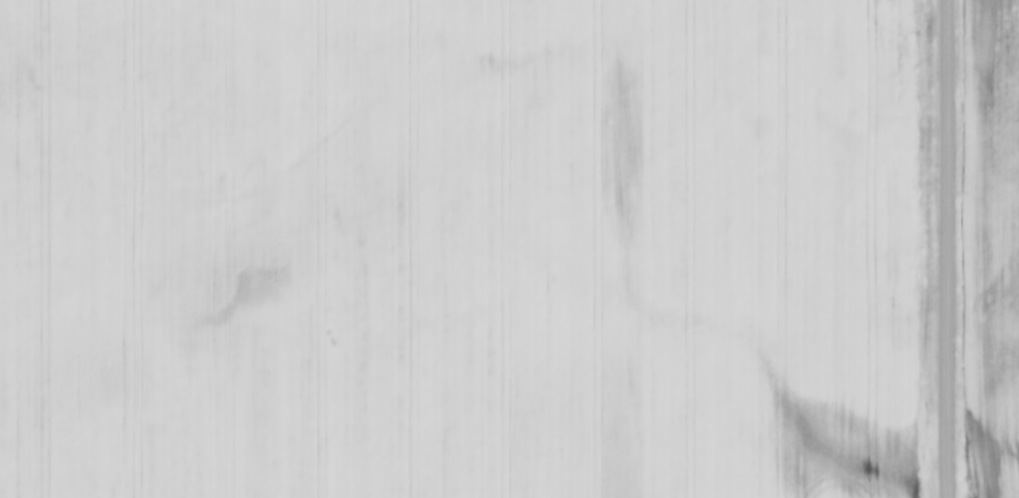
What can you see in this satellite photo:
road: (946, 249)

